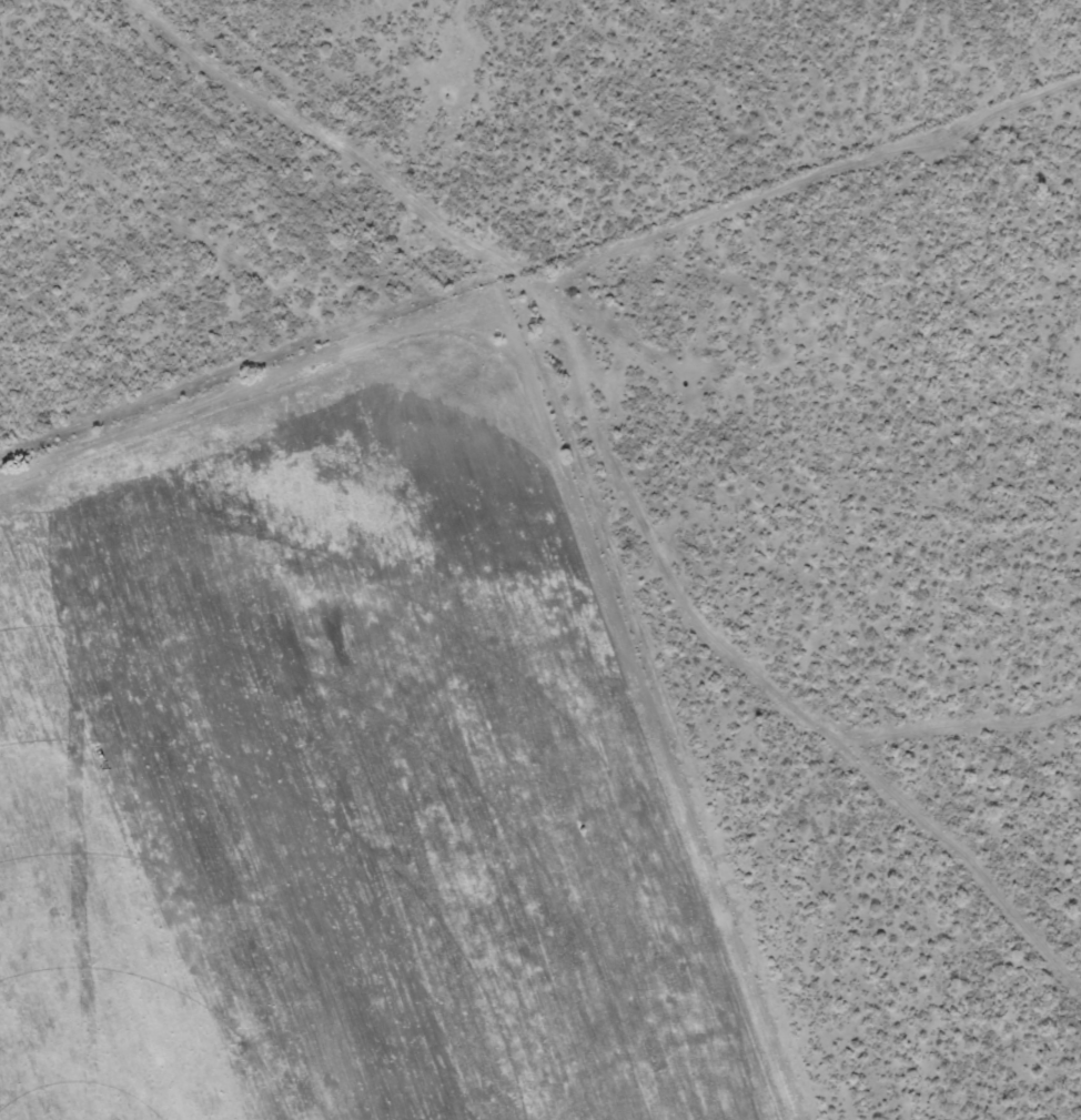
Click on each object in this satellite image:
road: (623, 472)

